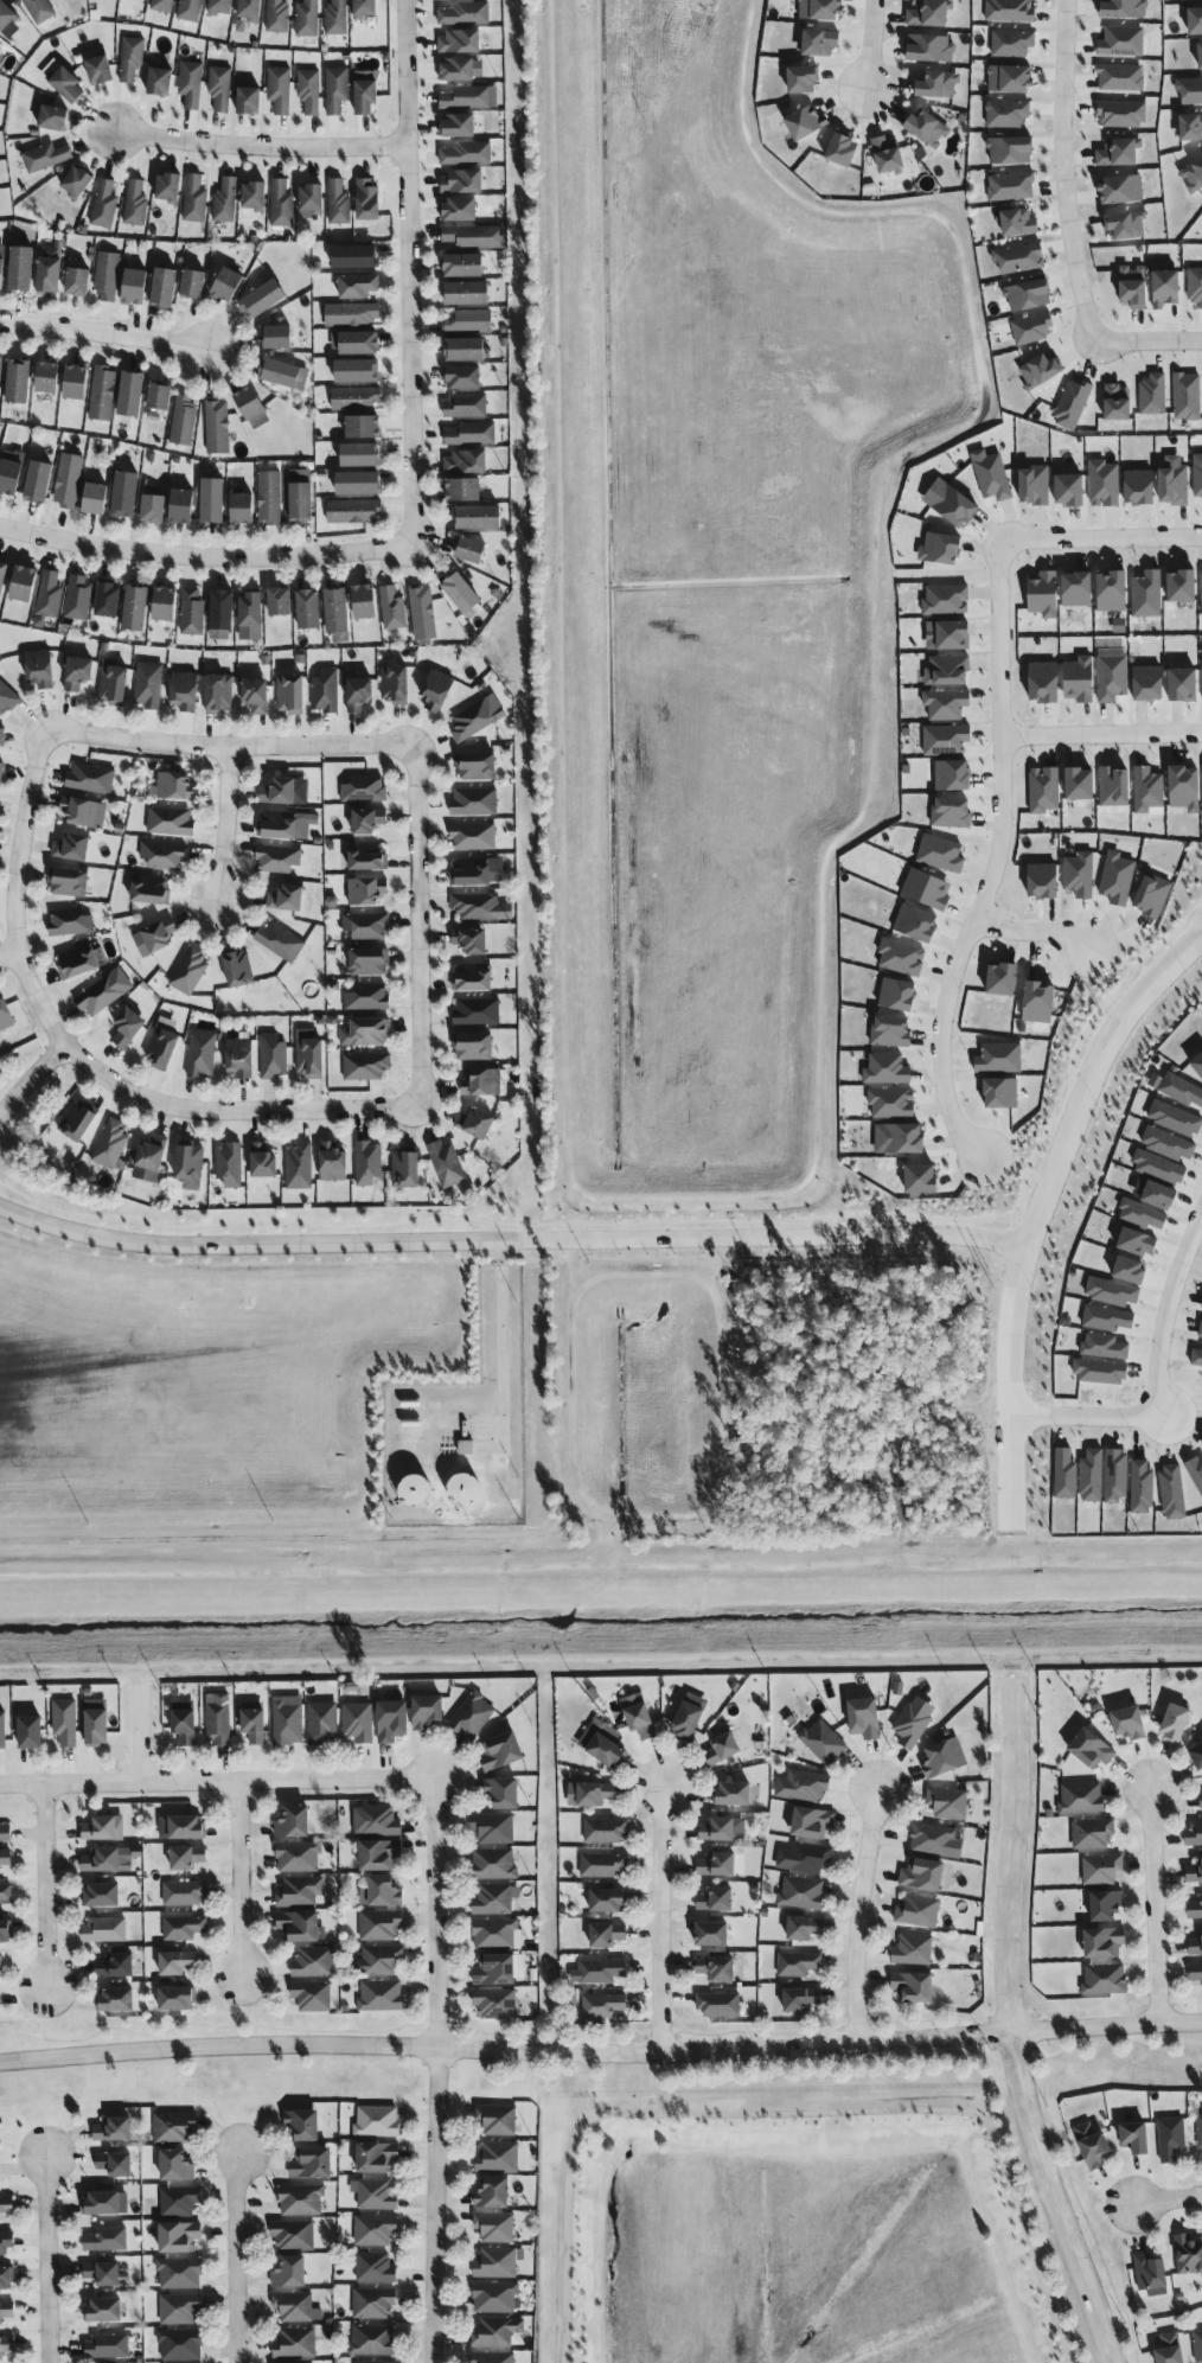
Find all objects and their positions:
building: (1189, 0)
building: (160, 5)
building: (220, 7)
building: (364, 8)
building: (820, 8)
building: (1123, 8)
building: (39, 9)
building: (188, 9)
building: (250, 11)
building: (1009, 11)
building: (465, 13)
building: (928, 13)
building: (6, 15)
building: (275, 15)
building: (306, 18)
building: (335, 18)
building: (1195, 20)
building: (459, 41)
building: (819, 41)
building: (1121, 41)
building: (0, 43)
building: (1011, 43)
road: (875, 45)
building: (929, 47)
building: (1200, 55)
building: (130, 58)
building: (460, 69)
building: (98, 70)
building: (1120, 77)
building: (803, 78)
building: (1010, 78)
building: (159, 81)
building: (190, 83)
building: (66, 84)
building: (938, 84)
building: (219, 88)
building: (279, 89)
building: (335, 89)
building: (308, 90)
building: (1189, 90)
building: (365, 91)
building: (465, 97)
building: (249, 101)
building: (1006, 114)
building: (1121, 114)
building: (52, 117)
building: (806, 122)
building: (456, 126)
building: (1190, 127)
building: (927, 128)
road: (258, 146)
building: (843, 149)
building: (1010, 149)
building: (1117, 153)
building: (466, 154)
building: (887, 154)
building: (45, 157)
road: (1064, 170)
building: (1193, 175)
building: (76, 181)
building: (462, 181)
building: (1010, 186)
building: (167, 187)
building: (1121, 190)
building: (254, 197)
building: (194, 198)
building: (367, 199)
building: (224, 200)
building: (311, 200)
building: (338, 202)
building: (134, 203)
building: (103, 204)
building: (281, 204)
building: (460, 209)
building: (1018, 223)
building: (1126, 224)
building: (474, 236)
building: (354, 256)
building: (1018, 258)
building: (463, 264)
building: (1, 266)
road: (404, 267)
building: (20, 268)
building: (50, 268)
building: (107, 276)
building: (77, 281)
building: (193, 283)
building: (228, 283)
building: (1195, 285)
building: (134, 286)
building: (358, 286)
building: (1133, 286)
building: (164, 288)
building: (1165, 288)
building: (466, 293)
building: (1028, 295)
building: (262, 300)
building: (351, 314)
building: (467, 321)
building: (1031, 328)
road: (104, 330)
building: (277, 337)
road: (1149, 340)
building: (465, 350)
building: (1, 365)
building: (357, 371)
building: (1041, 371)
building: (283, 373)
building: (47, 377)
building: (463, 377)
building: (18, 381)
building: (76, 382)
building: (102, 392)
building: (130, 394)
building: (1152, 394)
building: (159, 396)
building: (1187, 396)
building: (354, 398)
building: (1072, 403)
building: (1117, 403)
building: (465, 405)
building: (251, 408)
building: (183, 420)
building: (216, 427)
building: (363, 427)
building: (471, 434)
building: (360, 454)
building: (465, 462)
building: (991, 475)
building: (9, 477)
building: (66, 480)
building: (1197, 480)
building: (38, 481)
building: (358, 483)
building: (1104, 484)
building: (1035, 485)
building: (1174, 485)
building: (1139, 486)
building: (463, 490)
building: (1069, 490)
building: (124, 494)
building: (268, 498)
building: (95, 499)
building: (212, 500)
building: (300, 503)
building: (152, 505)
building: (181, 506)
building: (954, 506)
building: (241, 509)
building: (353, 511)
building: (478, 517)
road: (1104, 535)
building: (940, 549)
building: (471, 550)
road: (204, 553)
building: (2, 576)
building: (23, 583)
building: (1182, 586)
building: (1201, 588)
building: (1078, 589)
building: (1112, 592)
building: (461, 594)
building: (1043, 594)
building: (1146, 594)
building: (49, 595)
building: (77, 598)
building: (107, 600)
building: (945, 600)
building: (279, 601)
building: (364, 601)
building: (164, 603)
building: (135, 608)
building: (391, 608)
building: (308, 609)
building: (335, 611)
building: (191, 612)
building: (422, 613)
building: (220, 614)
building: (250, 617)
building: (953, 636)
building: (39, 669)
building: (947, 671)
building: (77, 673)
building: (1111, 676)
building: (1079, 679)
building: (1043, 682)
building: (111, 683)
building: (1149, 683)
building: (148, 684)
building: (395, 684)
building: (1183, 685)
building: (436, 690)
building: (184, 691)
building: (325, 691)
building: (219, 694)
building: (289, 694)
building: (358, 694)
building: (255, 695)
building: (6, 698)
building: (946, 704)
building: (477, 717)
building: (1, 733)
road: (1100, 733)
building: (945, 740)
road: (226, 746)
building: (0, 767)
building: (475, 767)
building: (952, 775)
building: (90, 779)
building: (1080, 785)
building: (173, 787)
building: (1114, 787)
building: (363, 788)
building: (1185, 788)
building: (1043, 790)
building: (1147, 790)
building: (284, 792)
building: (473, 801)
building: (84, 812)
building: (951, 813)
building: (367, 820)
building: (170, 822)
road: (226, 824)
building: (283, 825)
building: (472, 836)
building: (71, 848)
park: (734, 854)
building: (940, 854)
building: (162, 856)
building: (366, 857)
building: (277, 858)
road: (993, 863)
building: (469, 873)
building: (1079, 875)
building: (1117, 879)
building: (1043, 881)
building: (68, 883)
building: (927, 889)
building: (149, 890)
building: (366, 890)
building: (1151, 895)
building: (286, 899)
building: (480, 907)
building: (69, 922)
road: (427, 922)
building: (916, 924)
building: (365, 926)
road: (1034, 930)
building: (159, 935)
building: (279, 941)
building: (471, 941)
road: (8, 956)
building: (901, 958)
building: (367, 962)
building: (76, 963)
road: (1121, 964)
building: (237, 969)
building: (188, 971)
building: (472, 978)
building: (1002, 981)
building: (103, 992)
building: (897, 995)
building: (366, 997)
building: (1038, 1003)
building: (475, 1013)
building: (5, 1016)
building: (127, 1028)
building: (890, 1032)
building: (365, 1033)
building: (161, 1045)
building: (473, 1047)
building: (200, 1054)
building: (308, 1054)
building: (271, 1056)
road: (78, 1058)
building: (239, 1058)
building: (998, 1059)
building: (1197, 1064)
building: (365, 1066)
building: (887, 1069)
road: (1092, 1079)
road: (31, 1081)
building: (481, 1082)
building: (1181, 1091)
building: (1000, 1094)
building: (891, 1104)
building: (1175, 1119)
building: (77, 1120)
building: (474, 1124)
building: (903, 1139)
building: (1168, 1144)
building: (110, 1145)
building: (149, 1160)
building: (263, 1162)
building: (332, 1162)
building: (366, 1163)
building: (228, 1164)
building: (446, 1164)
building: (190, 1167)
building: (299, 1167)
building: (1158, 1167)
building: (405, 1170)
building: (921, 1180)
building: (1159, 1195)
building: (1140, 1214)
road: (514, 1228)
road: (510, 1239)
building: (1137, 1243)
building: (1130, 1271)
building: (1112, 1292)
building: (1201, 1308)
road: (1166, 1310)
building: (1107, 1318)
building: (1201, 1331)
road: (504, 1343)
building: (1104, 1347)
building: (1196, 1359)
building: (1100, 1372)
park: (652, 1377)
road: (573, 1382)
road: (1011, 1397)
road: (1086, 1420)
parking lot: (494, 1439)
building: (1195, 1473)
building: (1064, 1475)
building: (1092, 1476)
building: (1115, 1476)
building: (1142, 1488)
building: (1172, 1493)
road: (600, 1572)
river: (600, 1598)
road: (1014, 1610)
building: (427, 1711)
building: (472, 1716)
building: (639, 1716)
building: (689, 1716)
building: (217, 1718)
building: (864, 1718)
building: (287, 1719)
building: (391, 1720)
building: (64, 1722)
building: (183, 1722)
building: (252, 1722)
building: (321, 1722)
building: (357, 1722)
building: (913, 1722)
building: (96, 1723)
building: (1129, 1723)
building: (1176, 1723)
building: (2, 1730)
building: (30, 1732)
road: (142, 1732)
building: (602, 1743)
building: (823, 1743)
building: (723, 1745)
building: (1091, 1749)
building: (501, 1751)
building: (1196, 1755)
building: (944, 1758)
road: (216, 1781)
building: (801, 1786)
building: (503, 1793)
building: (589, 1794)
building: (731, 1794)
building: (1081, 1797)
building: (1201, 1800)
building: (947, 1802)
building: (375, 1821)
building: (293, 1822)
building: (812, 1822)
building: (180, 1827)
building: (103, 1828)
building: (492, 1828)
building: (722, 1829)
building: (605, 1831)
building: (5, 1833)
building: (1092, 1833)
building: (1194, 1833)
building: (935, 1841)
road: (1014, 1852)
building: (378, 1854)
building: (5, 1857)
building: (186, 1857)
building: (298, 1857)
building: (803, 1858)
building: (110, 1859)
building: (493, 1864)
building: (716, 1864)
building: (602, 1865)
building: (1100, 1869)
building: (1194, 1873)
building: (922, 1875)
road: (241, 1879)
road: (47, 1888)
building: (300, 1891)
building: (5, 1892)
building: (381, 1892)
building: (183, 1893)
building: (800, 1893)
building: (102, 1895)
building: (493, 1899)
building: (606, 1899)
building: (715, 1899)
building: (1106, 1905)
road: (1156, 1905)
building: (1195, 1909)
building: (918, 1911)
road: (859, 1915)
road: (665, 1920)
building: (379, 1924)
building: (299, 1925)
building: (183, 1927)
building: (804, 1928)
building: (5, 1930)
building: (103, 1930)
building: (1201, 1931)
building: (494, 1934)
building: (606, 1934)
building: (712, 1934)
building: (1104, 1942)
building: (1195, 1946)
building: (913, 1950)
building: (378, 1960)
building: (175, 1962)
building: (313, 1962)
building: (798, 1963)
building: (0, 1966)
building: (115, 1966)
building: (716, 1968)
building: (497, 1969)
building: (597, 1971)
building: (1195, 1972)
building: (1104, 1979)
building: (913, 1987)
building: (311, 1995)
building: (381, 1995)
building: (175, 1998)
building: (116, 1999)
building: (801, 1999)
building: (494, 2004)
building: (601, 2005)
building: (718, 2005)
road: (1110, 2027)
road: (509, 2050)
road: (437, 2070)
road: (586, 2084)
road: (916, 2110)
building: (497, 2120)
building: (376, 2121)
building: (303, 2125)
building: (174, 2128)
building: (114, 2129)
building: (1200, 2131)
building: (1136, 2137)
building: (1170, 2139)
building: (1093, 2146)
building: (497, 2157)
building: (376, 2158)
building: (312, 2163)
building: (115, 2164)
building: (175, 2166)
building: (493, 2193)
building: (373, 2195)
road: (1063, 2197)
road: (1168, 2199)
building: (179, 2201)
building: (301, 2201)
building: (104, 2202)
building: (6, 2204)
park: (792, 2217)
building: (494, 2227)
building: (373, 2230)
building: (293, 2235)
building: (178, 2236)
road: (571, 2239)
building: (106, 2240)
building: (6, 2243)
building: (1187, 2255)
road: (236, 2257)
road: (49, 2260)
building: (495, 2262)
building: (373, 2268)
building: (102, 2272)
building: (178, 2273)
building: (289, 2273)
building: (1150, 2273)
building: (6, 2279)
building: (494, 2298)
building: (372, 2304)
building: (295, 2307)
building: (178, 2308)
building: (104, 2310)
building: (6, 2311)
building: (495, 2332)
building: (371, 2340)
building: (294, 2343)
building: (179, 2344)
building: (107, 2345)
building: (1197, 2345)
building: (6, 2346)
building: (1170, 2349)
building: (492, 2357)
building: (370, 2362)

